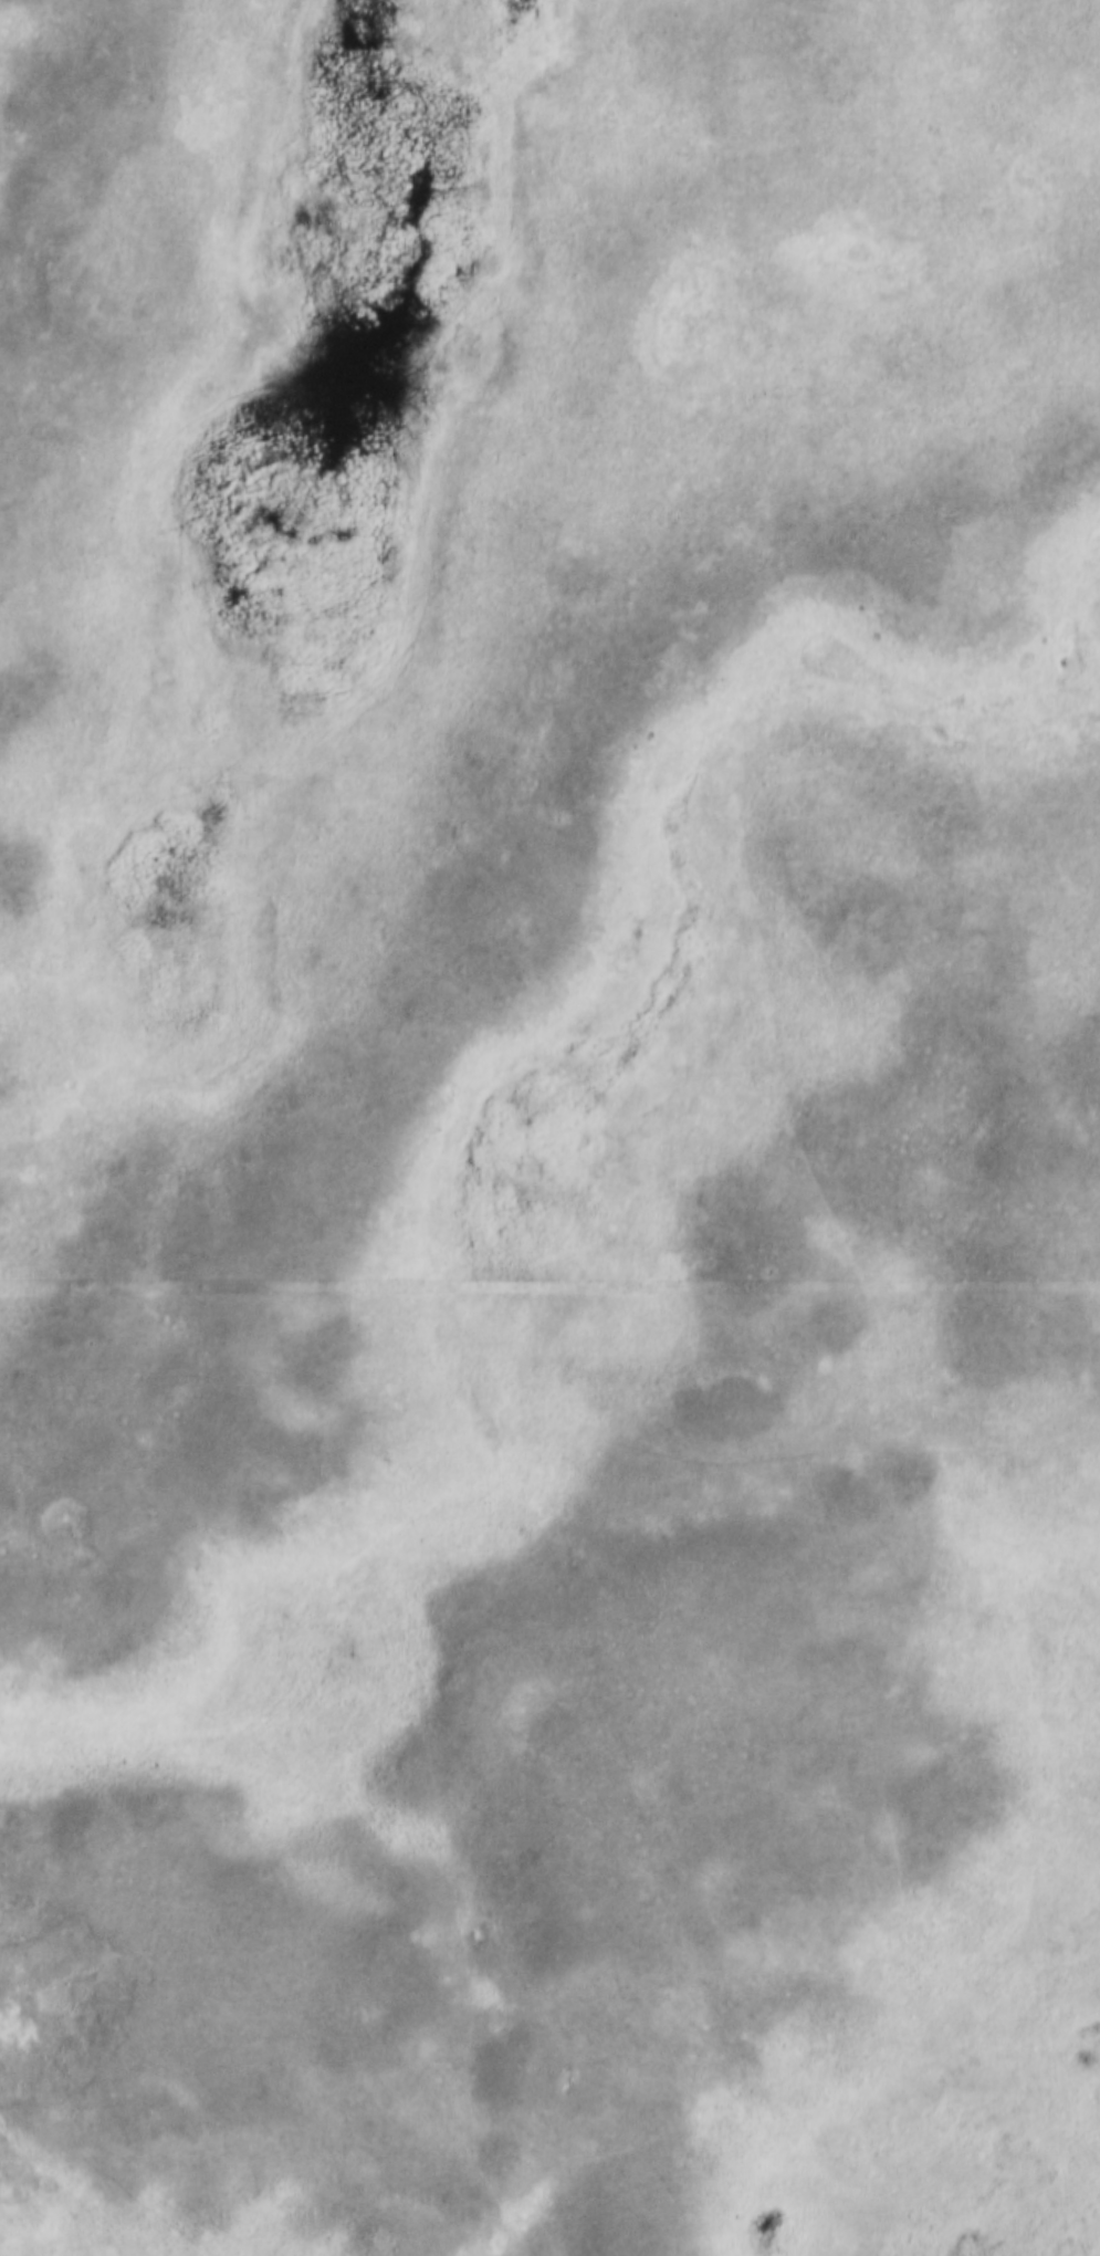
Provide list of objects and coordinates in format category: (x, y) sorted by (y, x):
quarry: (62, 1993)
road: (39, 2004)

